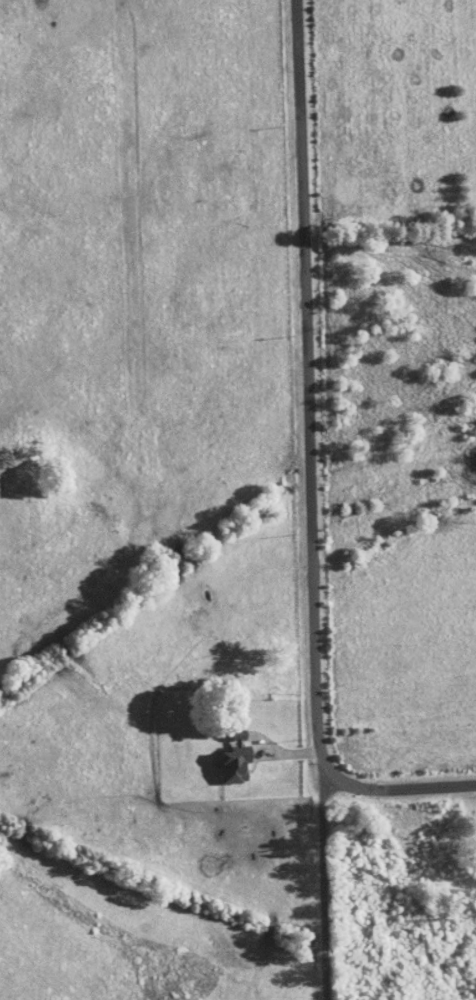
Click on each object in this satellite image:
road: (311, 465)
building: (228, 753)
road: (325, 883)

